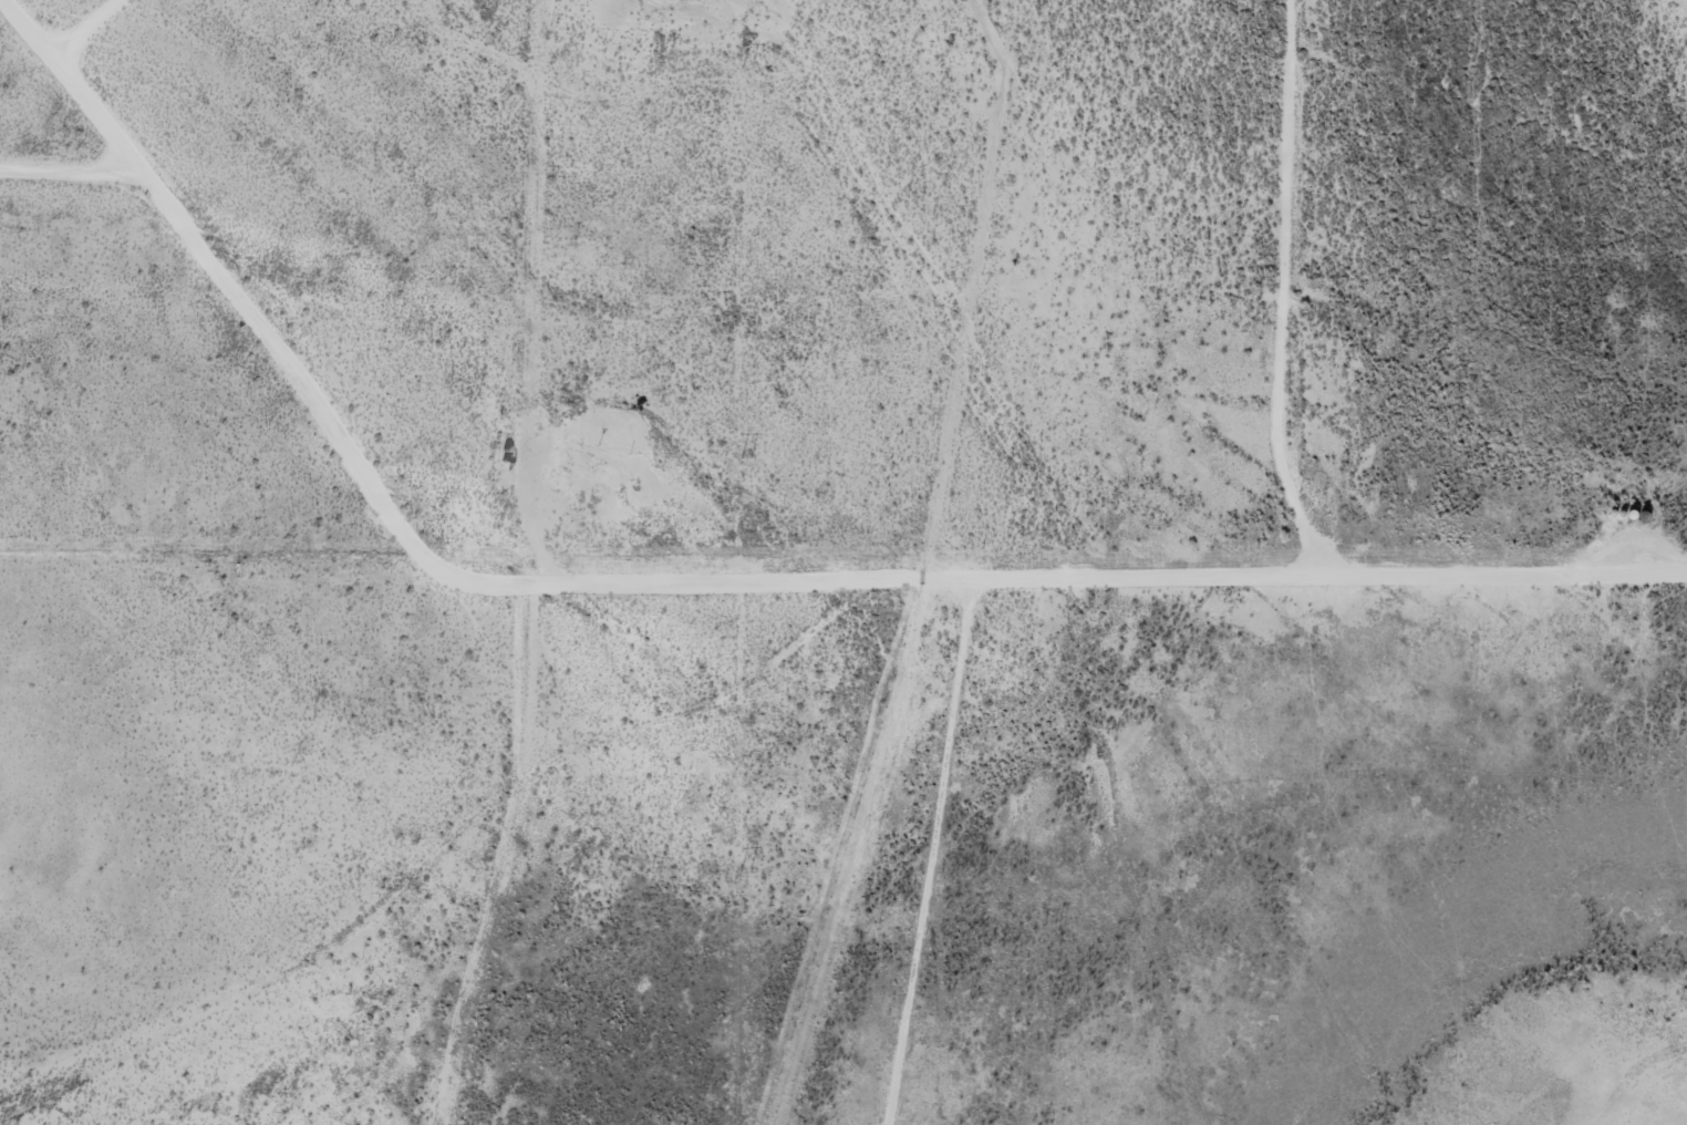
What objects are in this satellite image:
power tower: (747, 68)
road: (48, 182)
road: (1254, 302)
power tower: (746, 456)
road: (703, 606)
power tower: (744, 873)

